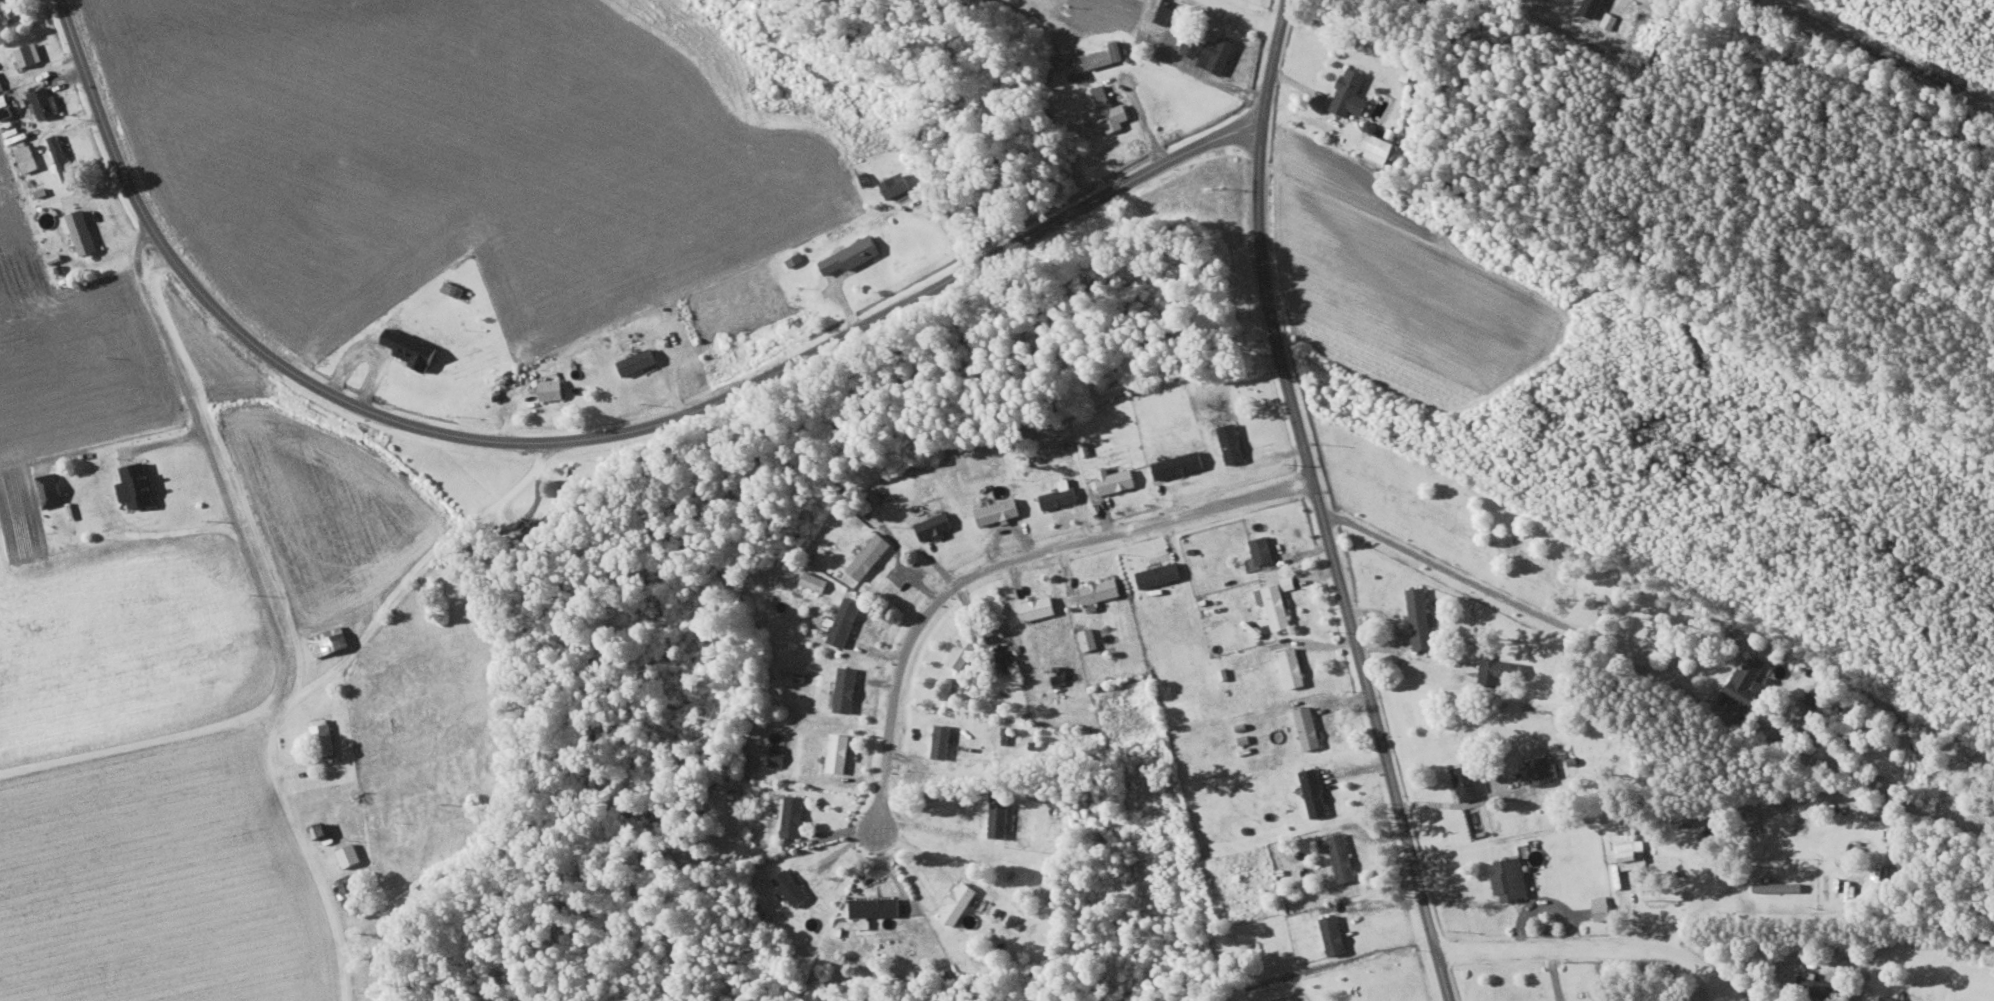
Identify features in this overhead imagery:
building: (1593, 7)
building: (6, 9)
building: (1166, 14)
building: (1193, 47)
building: (1219, 53)
building: (28, 54)
building: (1, 84)
building: (1351, 92)
building: (44, 102)
building: (1105, 108)
building: (1379, 147)
building: (60, 153)
building: (26, 155)
building: (897, 184)
building: (82, 231)
building: (852, 255)
building: (454, 288)
building: (412, 347)
building: (639, 361)
building: (553, 388)
road: (586, 436)
building: (1232, 442)
building: (1181, 464)
building: (1117, 479)
building: (138, 485)
building: (50, 489)
building: (1060, 497)
road: (1318, 503)
building: (999, 511)
building: (935, 525)
building: (1263, 549)
building: (870, 555)
road: (1002, 561)
building: (1160, 574)
building: (815, 581)
building: (1288, 582)
building: (1101, 592)
road: (264, 603)
building: (1275, 604)
building: (1039, 607)
road: (1527, 608)
building: (1421, 617)
building: (846, 621)
building: (1089, 639)
building: (329, 641)
building: (965, 651)
building: (1293, 667)
building: (1497, 670)
building: (1748, 680)
road: (310, 684)
building: (847, 689)
building: (1819, 700)
building: (1309, 727)
building: (323, 736)
building: (942, 740)
building: (839, 752)
building: (778, 755)
building: (1544, 769)
building: (1469, 782)
building: (1315, 792)
building: (736, 797)
building: (1000, 813)
building: (794, 815)
building: (1715, 832)
building: (1631, 854)
building: (349, 855)
building: (1342, 857)
building: (1511, 879)
building: (793, 887)
building: (1664, 894)
building: (959, 903)
building: (877, 907)
building: (1603, 907)
building: (1334, 934)
road: (1596, 942)
road: (1555, 973)
building: (1817, 985)
building: (1893, 999)

